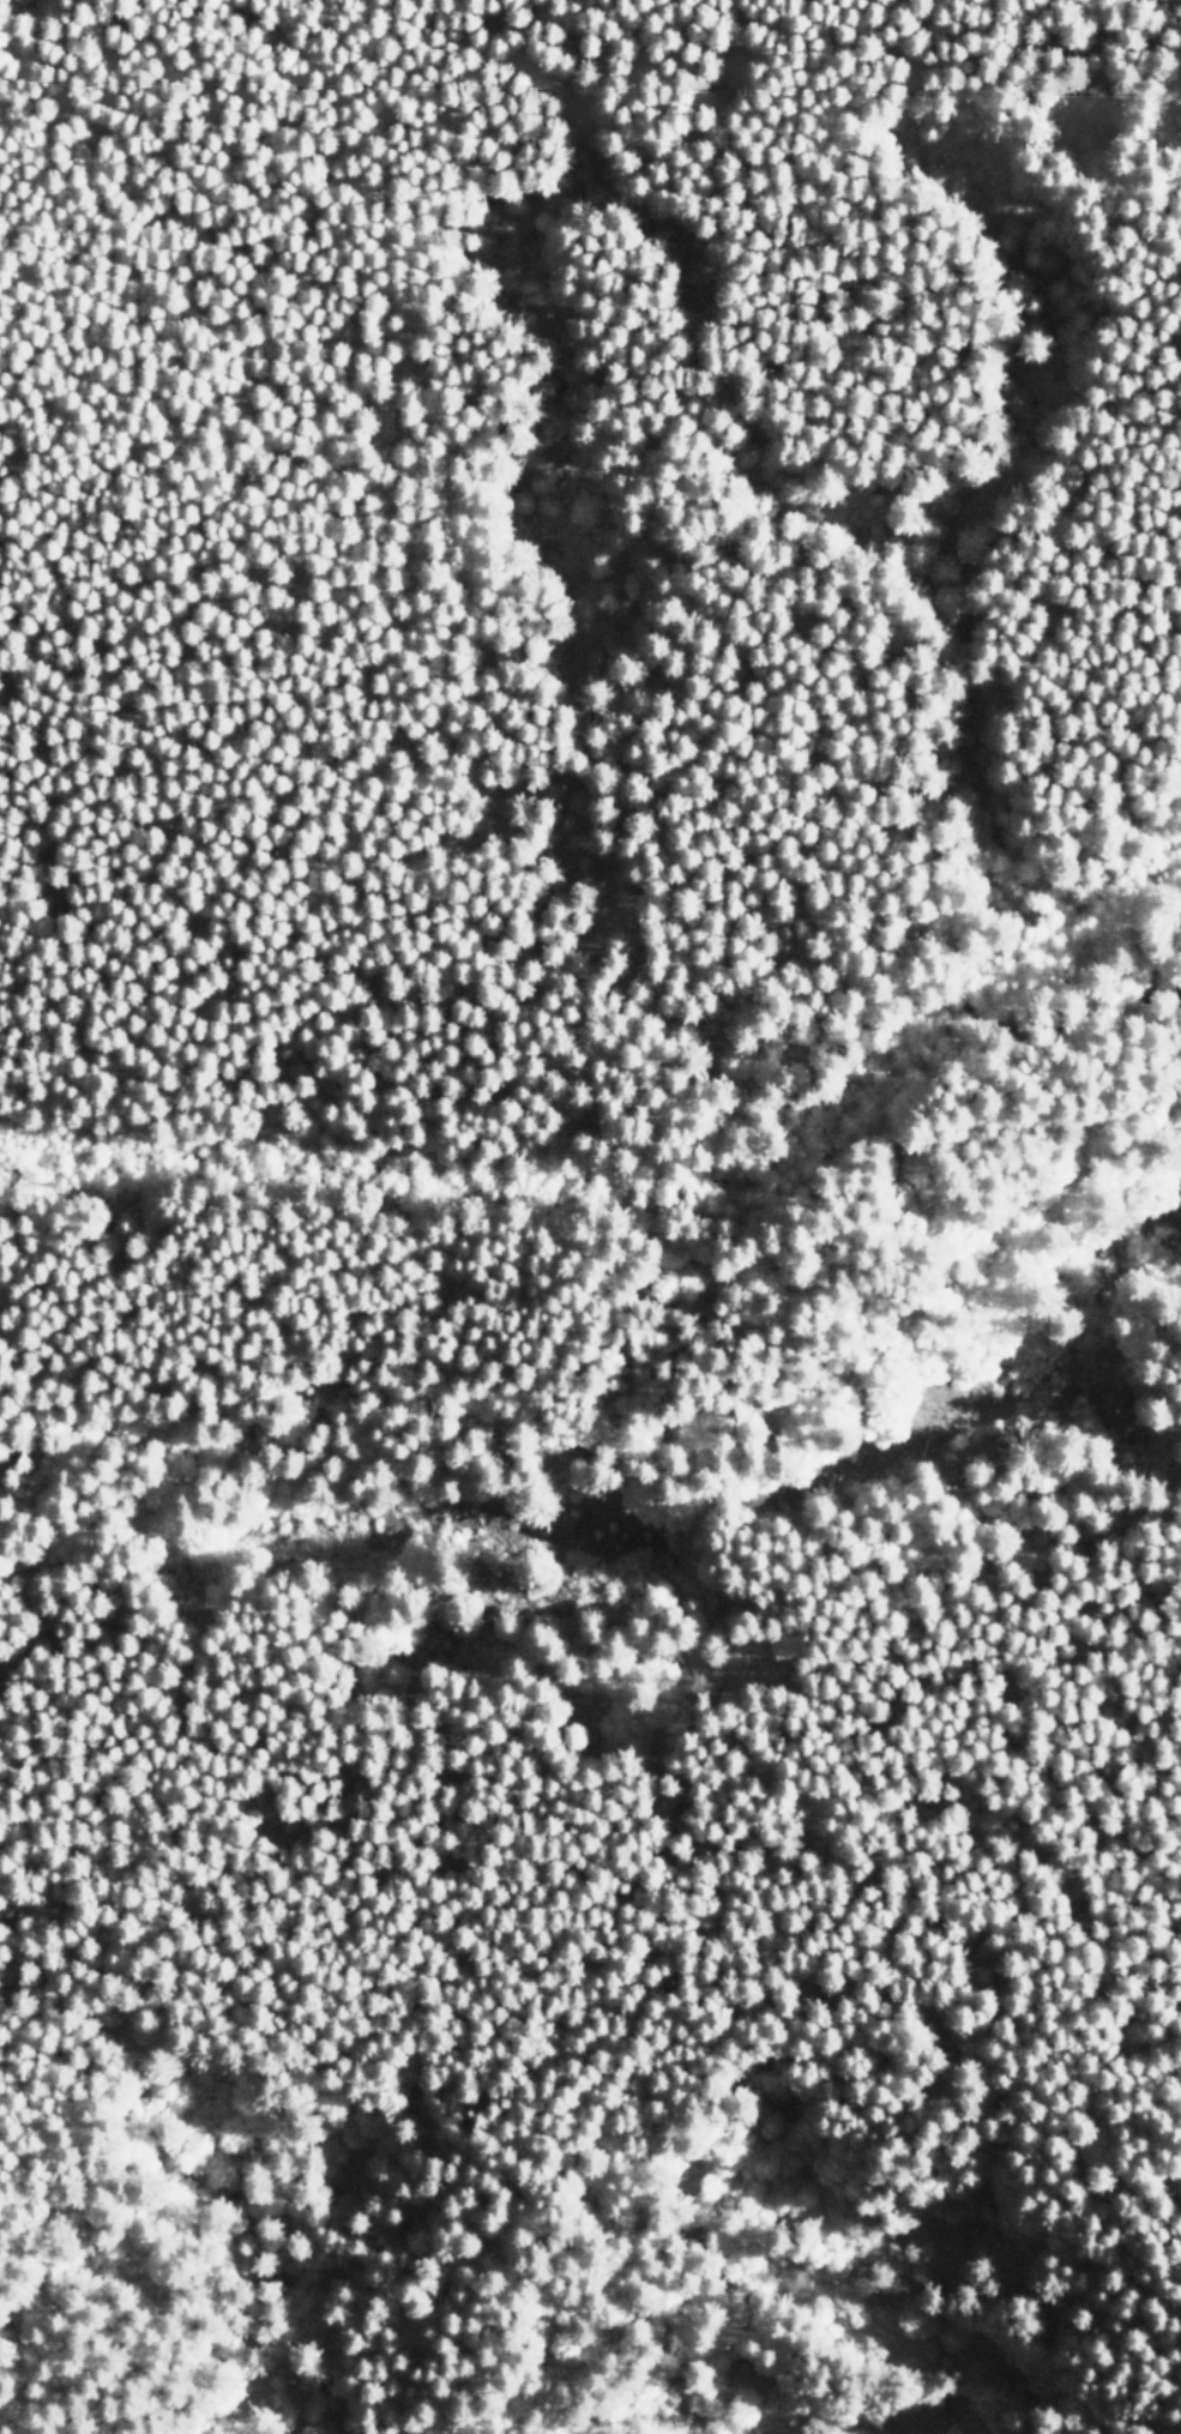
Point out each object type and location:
road: (358, 651)
road: (616, 1171)

